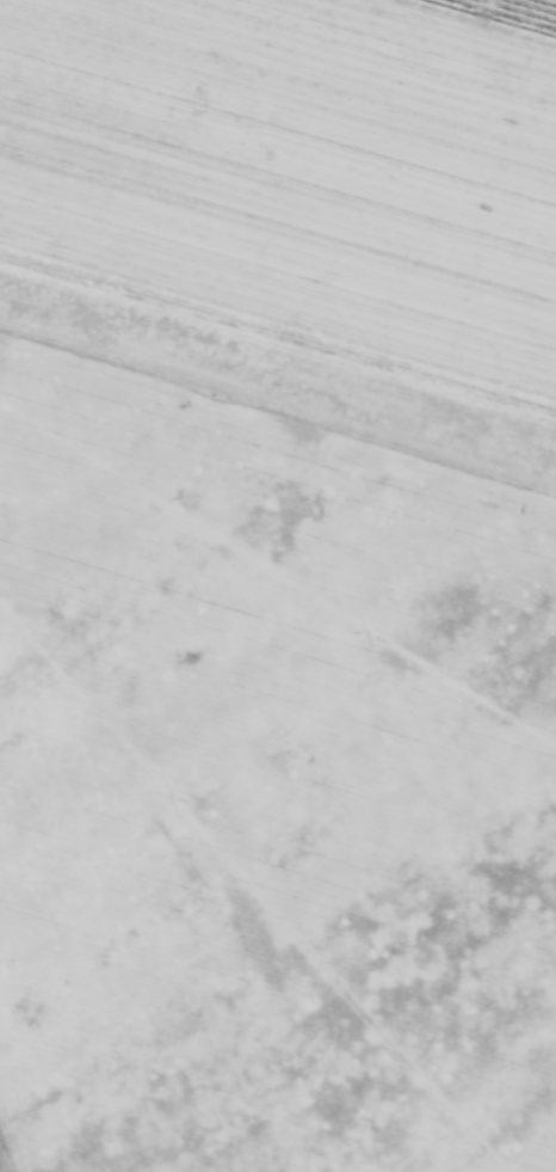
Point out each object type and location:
airport runway: (278, 376)
airport: (285, 376)

